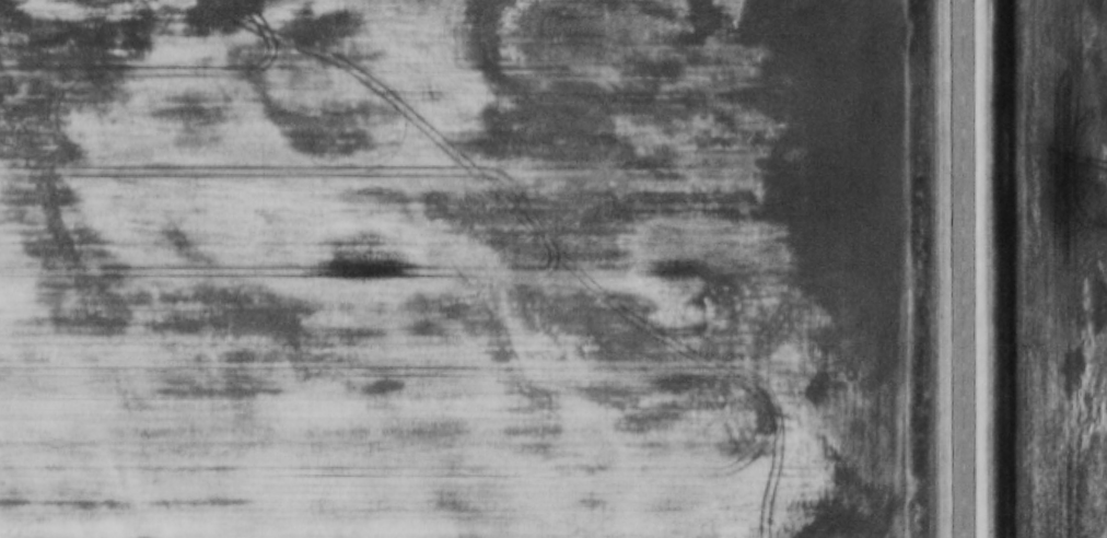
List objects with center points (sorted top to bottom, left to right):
road: (967, 268)
crop: (1063, 268)
crop: (453, 269)

